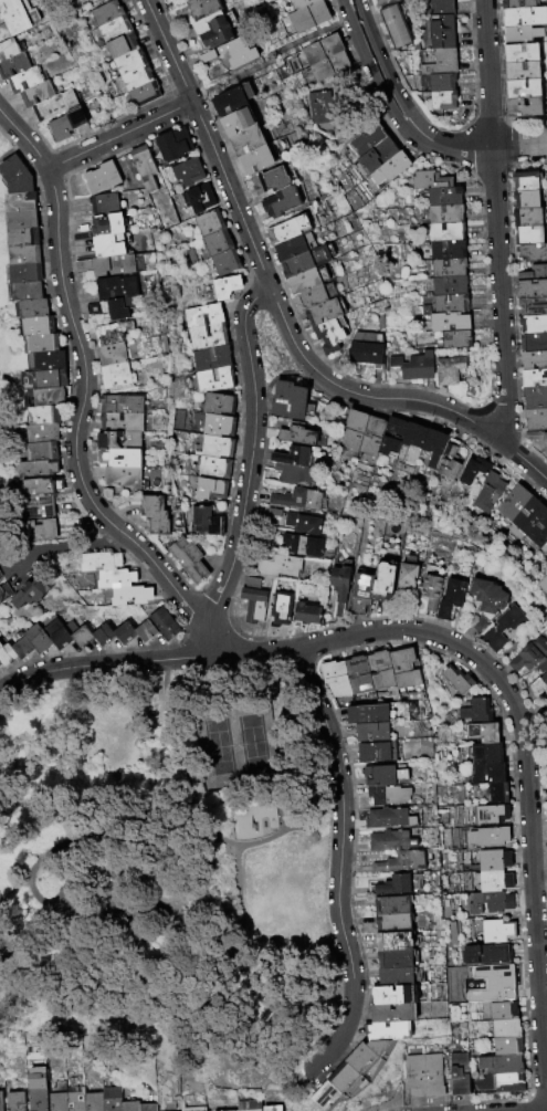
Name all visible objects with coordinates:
building: (83, 1)
building: (386, 2)
building: (302, 3)
building: (519, 3)
building: (441, 7)
building: (201, 8)
building: (105, 12)
building: (18, 15)
building: (309, 17)
building: (525, 17)
building: (396, 28)
building: (114, 29)
building: (212, 30)
building: (442, 31)
building: (523, 35)
building: (120, 45)
building: (323, 48)
building: (11, 50)
building: (523, 53)
building: (227, 56)
building: (128, 61)
building: (441, 62)
building: (14, 65)
building: (328, 65)
road: (386, 70)
building: (524, 71)
road: (371, 75)
building: (133, 78)
building: (25, 80)
building: (546, 80)
building: (442, 82)
building: (524, 88)
building: (38, 94)
building: (143, 94)
building: (232, 99)
building: (442, 99)
building: (55, 105)
building: (318, 107)
building: (525, 107)
road: (3, 114)
building: (238, 120)
building: (69, 123)
road: (15, 129)
road: (118, 135)
building: (246, 139)
building: (366, 139)
building: (172, 144)
road: (209, 144)
road: (483, 147)
building: (377, 156)
building: (256, 159)
building: (144, 168)
building: (389, 169)
building: (188, 174)
building: (17, 175)
building: (102, 178)
building: (270, 179)
building: (428, 181)
building: (523, 182)
building: (443, 197)
building: (199, 199)
building: (524, 200)
building: (20, 201)
building: (281, 201)
building: (104, 203)
building: (443, 214)
building: (525, 218)
building: (22, 219)
road: (495, 220)
building: (208, 222)
building: (108, 224)
building: (288, 229)
building: (445, 232)
building: (526, 235)
building: (24, 237)
building: (217, 242)
building: (108, 245)
building: (294, 247)
building: (445, 250)
building: (530, 254)
building: (25, 255)
building: (307, 261)
building: (224, 262)
building: (113, 265)
building: (446, 268)
building: (24, 273)
building: (534, 274)
building: (308, 280)
building: (448, 285)
building: (227, 286)
building: (116, 287)
building: (532, 290)
building: (25, 291)
building: (314, 295)
building: (445, 304)
building: (533, 307)
building: (32, 308)
building: (120, 308)
building: (323, 312)
building: (202, 315)
building: (448, 323)
building: (38, 325)
road: (285, 325)
building: (534, 325)
road: (243, 329)
building: (112, 333)
building: (332, 335)
building: (207, 336)
building: (454, 339)
building: (40, 344)
building: (534, 344)
park: (269, 350)
building: (365, 350)
building: (112, 354)
building: (211, 358)
building: (46, 360)
building: (534, 360)
building: (415, 367)
building: (448, 371)
building: (116, 375)
building: (51, 378)
building: (213, 379)
building: (534, 379)
building: (49, 397)
building: (535, 398)
building: (290, 401)
road: (80, 403)
building: (218, 403)
road: (431, 403)
building: (120, 405)
building: (44, 415)
building: (535, 419)
building: (120, 423)
building: (217, 426)
building: (351, 430)
building: (43, 433)
building: (298, 434)
building: (370, 437)
building: (391, 437)
building: (536, 437)
building: (412, 439)
building: (119, 442)
building: (215, 447)
building: (432, 447)
building: (42, 451)
building: (295, 455)
building: (118, 458)
building: (448, 461)
building: (212, 468)
building: (39, 470)
building: (472, 471)
building: (293, 474)
building: (149, 475)
building: (123, 476)
building: (41, 486)
building: (210, 489)
building: (487, 491)
building: (299, 500)
building: (512, 503)
building: (39, 506)
building: (274, 513)
building: (155, 514)
building: (204, 522)
road: (241, 522)
building: (532, 522)
building: (304, 524)
building: (40, 530)
road: (65, 545)
building: (304, 545)
building: (187, 559)
building: (99, 560)
building: (280, 566)
building: (407, 575)
building: (0, 576)
building: (115, 578)
building: (382, 580)
building: (339, 586)
building: (541, 586)
building: (4, 591)
building: (360, 591)
building: (430, 591)
building: (31, 593)
building: (130, 595)
building: (450, 599)
building: (252, 600)
building: (485, 601)
building: (281, 609)
building: (306, 615)
building: (164, 623)
building: (502, 628)
building: (145, 631)
building: (125, 633)
building: (56, 635)
building: (103, 635)
building: (81, 637)
building: (36, 639)
building: (22, 648)
building: (6, 654)
building: (529, 657)
road: (144, 661)
building: (546, 661)
building: (0, 664)
building: (403, 668)
building: (380, 669)
building: (358, 674)
building: (454, 681)
building: (337, 682)
building: (538, 686)
building: (546, 701)
building: (473, 713)
building: (367, 714)
building: (545, 721)
building: (372, 732)
building: (480, 734)
park: (236, 744)
building: (375, 752)
building: (483, 755)
building: (383, 775)
building: (485, 775)
road: (526, 780)
building: (387, 795)
building: (495, 795)
building: (488, 816)
road: (197, 817)
building: (389, 818)
building: (486, 838)
building: (390, 840)
building: (401, 861)
building: (488, 861)
road: (339, 862)
park: (164, 868)
building: (491, 883)
building: (395, 884)
building: (492, 904)
building: (392, 905)
building: (392, 923)
building: (494, 933)
building: (395, 941)
building: (482, 956)
building: (395, 958)
building: (396, 976)
building: (491, 985)
building: (396, 994)
building: (393, 1013)
building: (499, 1013)
building: (389, 1030)
building: (503, 1030)
building: (504, 1048)
building: (366, 1055)
building: (496, 1067)
building: (459, 1075)
building: (433, 1076)
building: (414, 1077)
building: (345, 1078)
building: (506, 1084)
building: (36, 1089)
building: (327, 1096)
building: (57, 1097)
building: (76, 1099)
building: (112, 1099)
building: (1, 1101)
building: (15, 1101)
building: (94, 1101)
building: (129, 1105)
building: (249, 1105)
building: (147, 1108)
building: (272, 1108)
building: (193, 1109)

